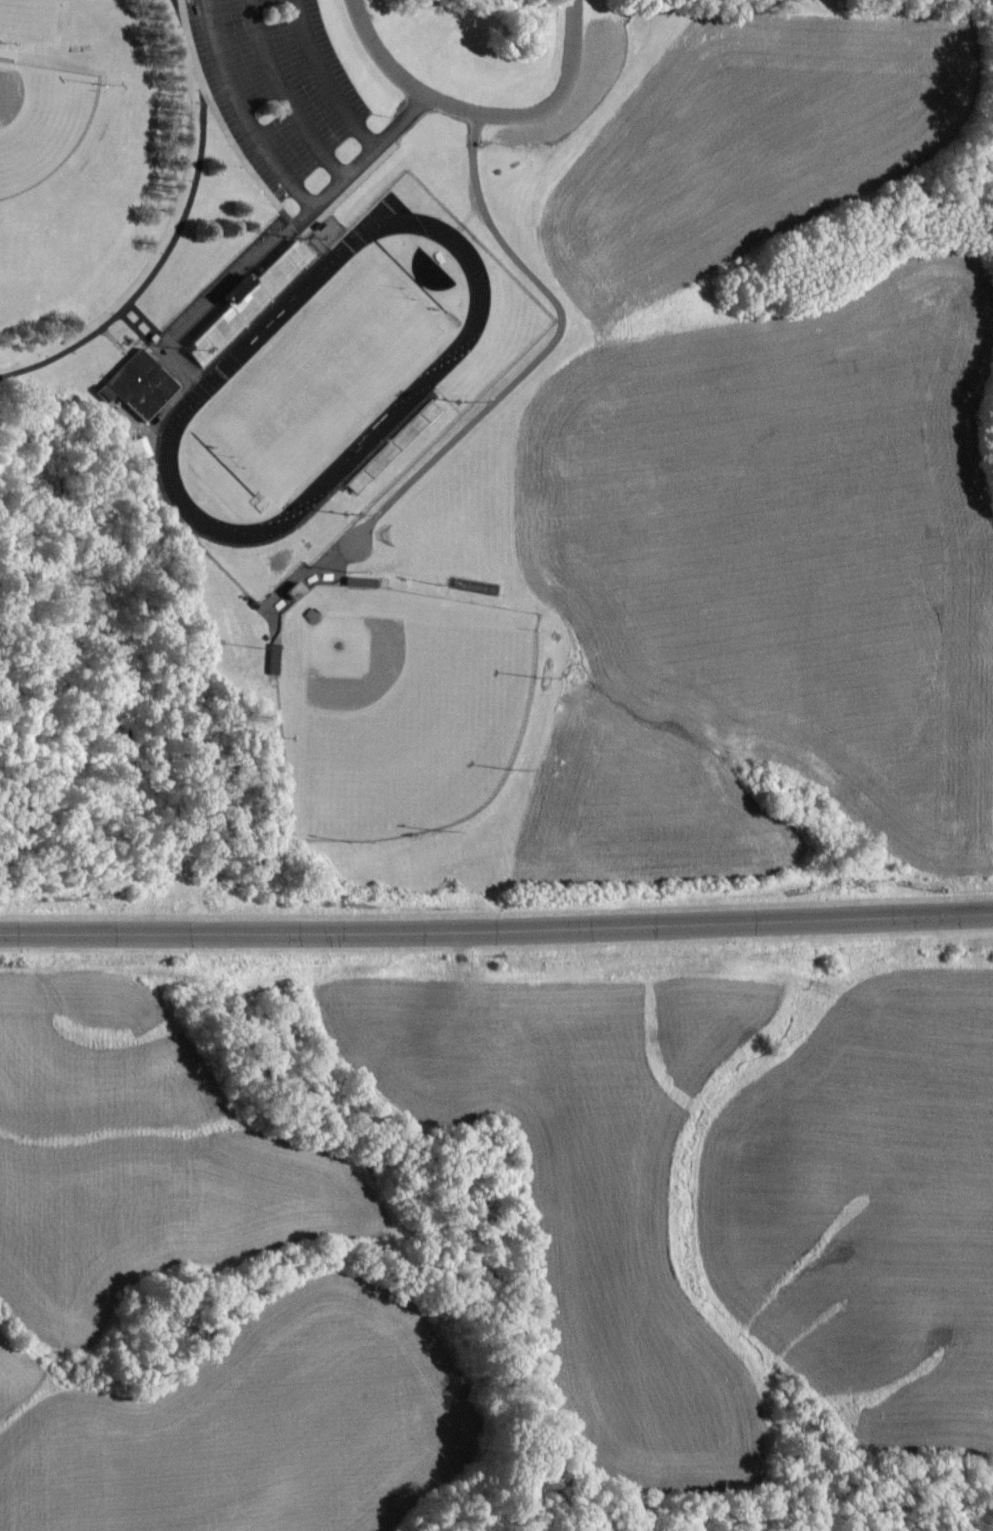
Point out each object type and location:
road: (384, 56)
road: (326, 80)
road: (286, 94)
road: (546, 111)
road: (241, 113)
road: (299, 222)
road: (179, 226)
building: (244, 300)
park: (322, 375)
track: (215, 376)
building: (143, 381)
road: (496, 929)

